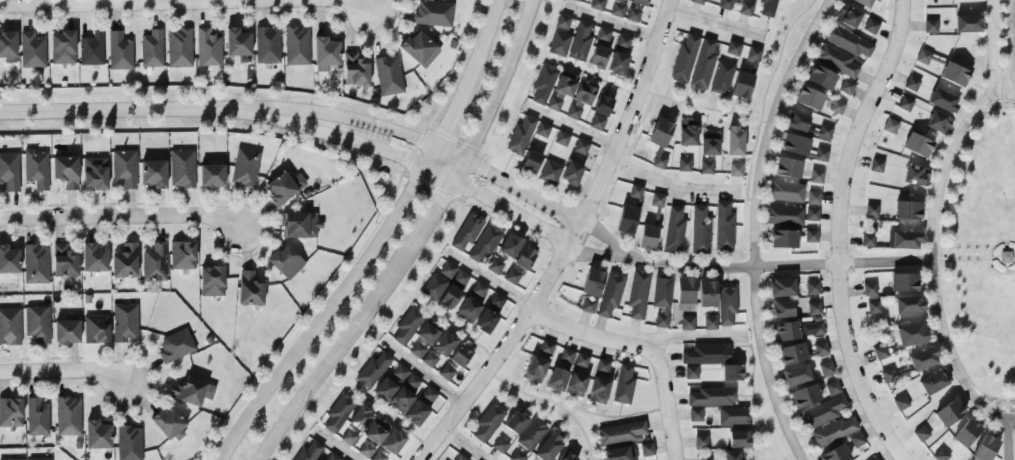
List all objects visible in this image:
building: (576, 0)
building: (625, 0)
building: (697, 1)
building: (639, 2)
building: (863, 2)
road: (186, 3)
building: (597, 4)
building: (725, 4)
building: (767, 7)
building: (745, 8)
building: (617, 10)
building: (433, 13)
building: (632, 15)
building: (848, 16)
building: (562, 21)
road: (611, 22)
road: (715, 23)
building: (967, 23)
building: (871, 26)
building: (930, 26)
building: (603, 35)
building: (623, 41)
building: (237, 42)
building: (580, 42)
building: (848, 42)
building: (559, 43)
building: (267, 45)
road: (1011, 45)
building: (296, 46)
road: (480, 46)
road: (992, 46)
building: (8, 47)
building: (62, 47)
building: (179, 48)
building: (208, 48)
building: (733, 48)
building: (91, 49)
building: (152, 49)
building: (419, 49)
building: (32, 50)
building: (119, 51)
building: (325, 53)
building: (753, 54)
building: (598, 57)
building: (923, 57)
building: (684, 59)
building: (836, 60)
building: (617, 63)
building: (704, 63)
building: (355, 70)
building: (954, 74)
building: (388, 75)
building: (820, 77)
building: (721, 78)
building: (543, 83)
building: (911, 83)
building: (565, 84)
building: (741, 85)
building: (846, 87)
road: (496, 92)
building: (585, 92)
road: (655, 94)
road: (763, 97)
building: (808, 98)
building: (942, 100)
road: (1001, 102)
building: (554, 103)
building: (905, 103)
building: (602, 106)
road: (133, 109)
building: (573, 112)
road: (448, 119)
building: (797, 121)
road: (369, 122)
building: (597, 122)
building: (938, 122)
road: (569, 125)
building: (890, 126)
building: (542, 129)
building: (824, 131)
building: (660, 132)
building: (687, 133)
building: (520, 135)
building: (561, 138)
building: (734, 141)
building: (709, 144)
building: (794, 144)
building: (917, 145)
building: (581, 147)
building: (820, 154)
building: (659, 161)
building: (530, 162)
building: (684, 164)
building: (876, 165)
building: (124, 167)
building: (245, 167)
road: (421, 167)
building: (706, 167)
building: (787, 167)
building: (36, 168)
building: (181, 168)
building: (735, 170)
building: (9, 171)
building: (66, 171)
building: (549, 172)
building: (571, 172)
building: (94, 173)
building: (153, 173)
building: (211, 175)
building: (916, 175)
building: (816, 176)
road: (670, 184)
building: (283, 187)
road: (522, 191)
building: (635, 191)
building: (786, 191)
building: (813, 198)
building: (657, 200)
building: (871, 210)
building: (907, 210)
building: (812, 214)
road: (432, 215)
building: (784, 215)
road: (120, 216)
building: (626, 219)
building: (299, 225)
road: (753, 225)
building: (723, 227)
building: (700, 230)
building: (467, 231)
building: (673, 231)
road: (837, 231)
road: (604, 236)
building: (811, 236)
building: (647, 237)
building: (783, 239)
building: (867, 240)
building: (903, 240)
building: (485, 243)
road: (567, 243)
building: (509, 246)
road: (596, 253)
road: (932, 253)
building: (182, 255)
road: (938, 255)
building: (524, 257)
road: (988, 257)
road: (1005, 257)
building: (94, 258)
road: (973, 259)
building: (9, 260)
building: (64, 261)
building: (125, 261)
building: (285, 261)
building: (154, 263)
road: (779, 263)
building: (36, 264)
building: (495, 266)
building: (448, 269)
building: (513, 274)
building: (461, 277)
road: (489, 279)
building: (211, 281)
building: (592, 282)
building: (903, 282)
building: (434, 287)
building: (781, 287)
building: (812, 287)
building: (249, 289)
building: (479, 289)
building: (869, 289)
building: (685, 293)
building: (707, 293)
building: (637, 294)
building: (610, 295)
building: (449, 298)
building: (661, 299)
building: (497, 300)
building: (908, 304)
road: (331, 305)
building: (587, 305)
building: (726, 305)
building: (873, 307)
building: (814, 308)
building: (782, 309)
building: (468, 310)
building: (485, 321)
building: (125, 322)
building: (710, 322)
building: (687, 323)
building: (37, 324)
building: (10, 326)
building: (407, 326)
building: (816, 328)
building: (96, 329)
building: (66, 330)
building: (785, 331)
building: (427, 333)
building: (910, 333)
road: (694, 337)
building: (443, 343)
building: (175, 346)
building: (546, 347)
road: (642, 348)
building: (820, 348)
building: (880, 352)
road: (334, 353)
building: (792, 353)
building: (423, 354)
building: (706, 354)
building: (460, 356)
building: (923, 358)
building: (581, 360)
building: (602, 365)
building: (372, 369)
building: (535, 369)
building: (560, 369)
building: (825, 369)
road: (422, 371)
road: (65, 372)
building: (446, 372)
building: (691, 372)
building: (731, 372)
building: (795, 375)
building: (888, 375)
building: (933, 382)
building: (576, 384)
building: (623, 385)
building: (832, 388)
building: (384, 389)
building: (403, 389)
building: (598, 390)
building: (190, 391)
road: (520, 391)
building: (429, 394)
building: (804, 396)
building: (711, 397)
road: (753, 398)
building: (901, 403)
road: (1007, 408)
building: (10, 412)
building: (338, 412)
building: (821, 412)
building: (416, 413)
building: (949, 413)
building: (695, 414)
building: (68, 416)
road: (387, 416)
building: (733, 416)
building: (37, 417)
building: (360, 418)
building: (487, 422)
building: (515, 422)
building: (169, 423)
road: (579, 427)
building: (834, 431)
building: (376, 432)
building: (621, 432)
building: (921, 433)
building: (966, 433)
building: (97, 435)
building: (531, 435)
building: (349, 436)
road: (1007, 438)
building: (738, 439)
building: (856, 439)
building: (700, 441)
building: (392, 442)
road: (466, 442)
building: (129, 443)
road: (339, 446)
building: (548, 447)
building: (985, 448)
building: (366, 449)
building: (646, 449)
building: (309, 451)
building: (620, 453)
building: (835, 453)
building: (516, 455)
building: (733, 455)
building: (941, 455)
building: (332, 456)
building: (379, 456)
building: (567, 456)
building: (705, 458)
building: (12, 459)
building: (39, 459)
building: (875, 459)

